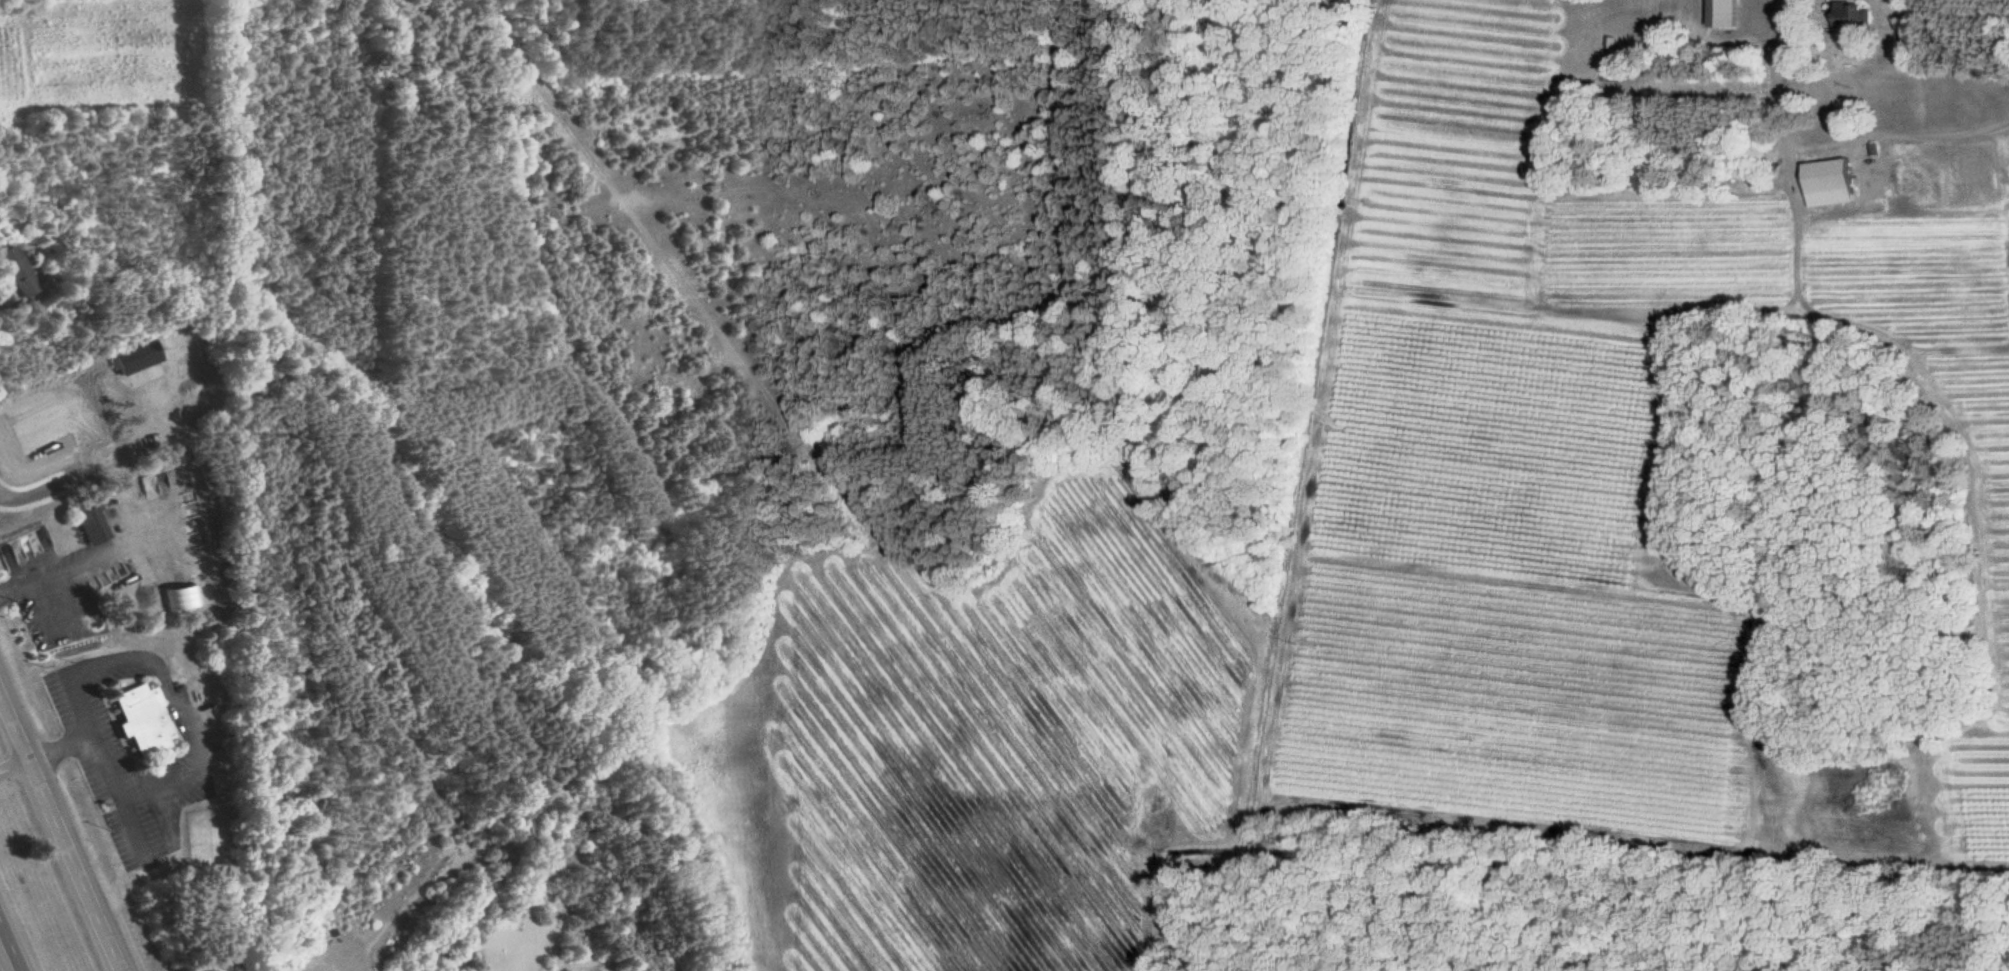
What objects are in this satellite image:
building: (1718, 13)
building: (1849, 17)
building: (1606, 74)
road: (1773, 78)
road: (1698, 85)
building: (1824, 183)
building: (18, 271)
road: (1, 300)
building: (134, 357)
building: (93, 526)
building: (31, 545)
road: (114, 552)
building: (182, 598)
road: (75, 600)
road: (47, 611)
road: (182, 709)
building: (142, 720)
road: (61, 749)
road: (15, 767)
road: (61, 832)
road: (12, 943)

